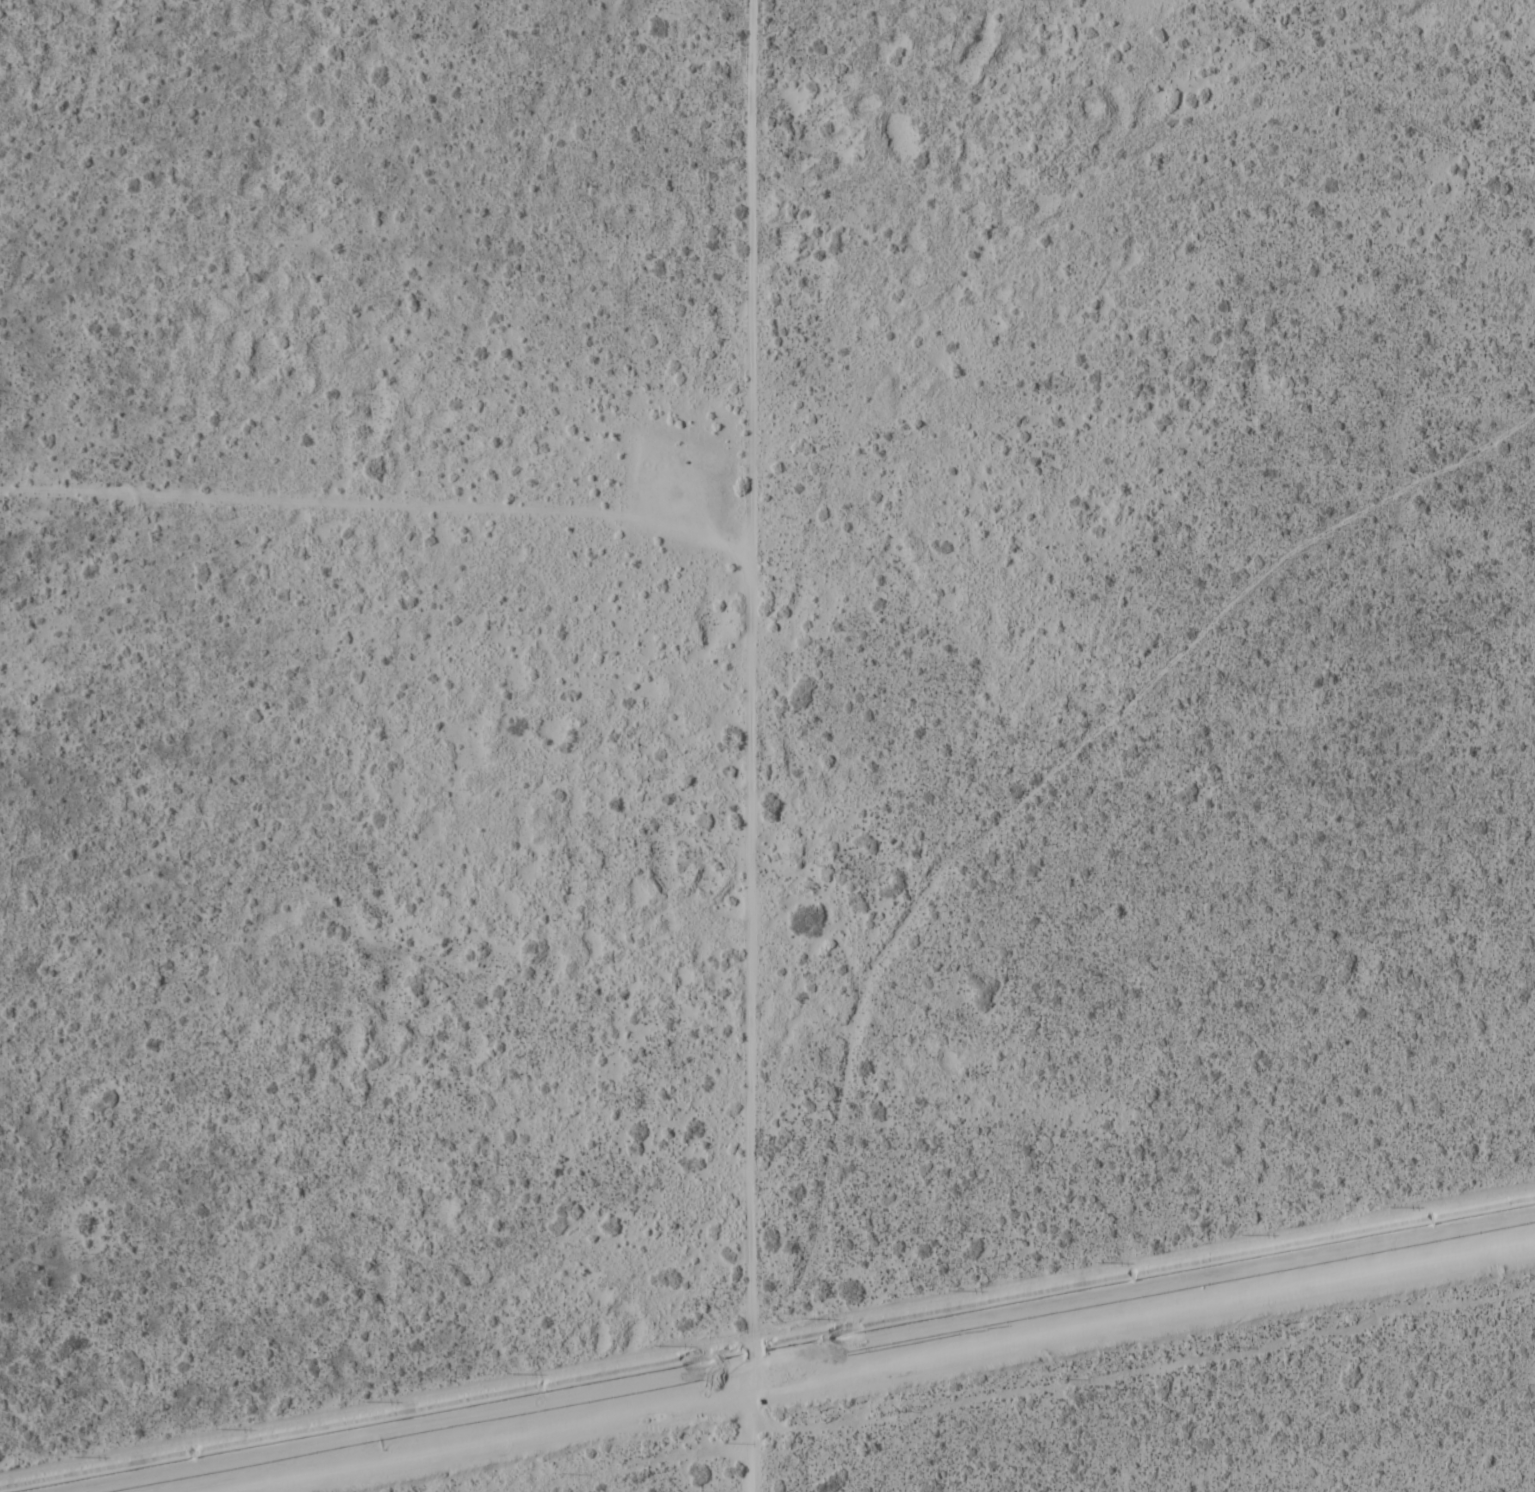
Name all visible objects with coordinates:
road: (747, 745)
road: (1060, 852)

